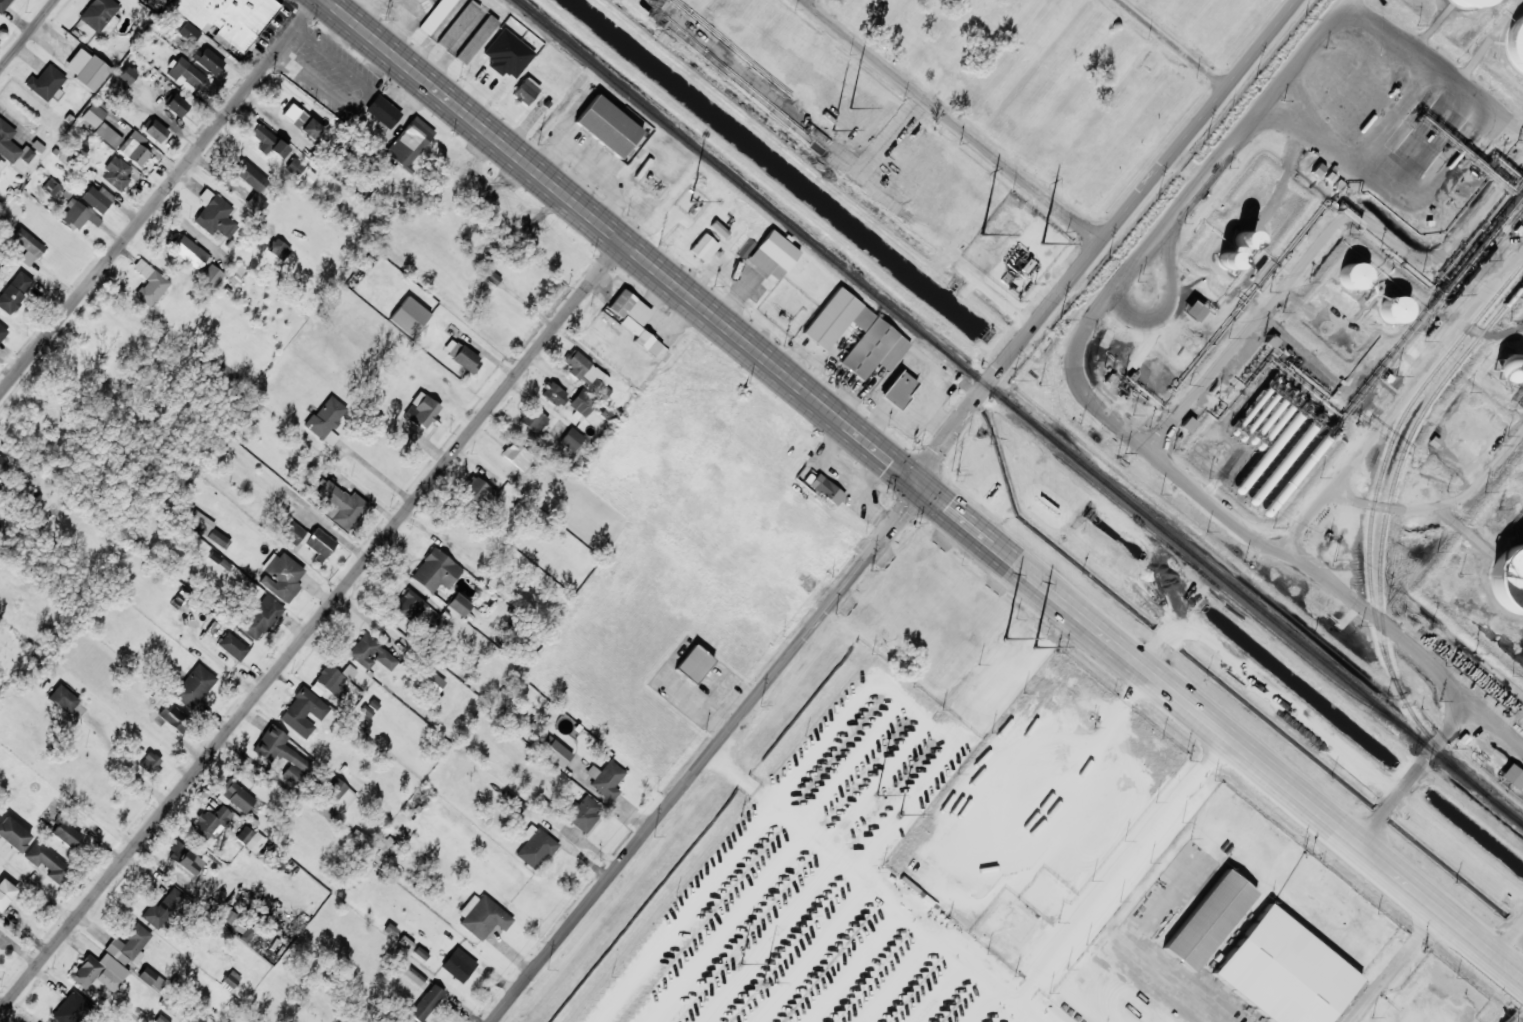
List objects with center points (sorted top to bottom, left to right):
road: (805, 0)
building: (3, 4)
building: (1455, 5)
building: (98, 13)
building: (435, 16)
building: (228, 18)
building: (457, 24)
building: (188, 32)
road: (27, 34)
building: (476, 39)
building: (1513, 42)
road: (1172, 44)
building: (207, 60)
building: (86, 68)
building: (186, 76)
building: (122, 80)
building: (45, 82)
building: (525, 91)
building: (177, 105)
building: (382, 111)
building: (93, 114)
building: (302, 121)
road: (952, 121)
building: (603, 124)
building: (156, 130)
building: (108, 134)
building: (268, 141)
building: (409, 141)
building: (11, 145)
building: (134, 148)
building: (1, 163)
building: (1317, 170)
building: (300, 171)
building: (116, 173)
building: (251, 176)
building: (1329, 177)
building: (51, 188)
road: (158, 196)
building: (97, 197)
building: (78, 214)
building: (214, 214)
road: (1104, 238)
building: (1243, 238)
building: (27, 246)
building: (703, 247)
building: (278, 249)
building: (188, 251)
building: (773, 254)
building: (1226, 259)
building: (210, 276)
building: (1352, 276)
building: (491, 277)
building: (149, 283)
building: (14, 291)
building: (1393, 308)
building: (1192, 311)
building: (405, 312)
railway: (1437, 313)
building: (634, 319)
building: (2, 331)
building: (881, 337)
building: (461, 355)
building: (1509, 368)
building: (587, 374)
building: (898, 389)
building: (553, 393)
railway: (1003, 399)
building: (582, 402)
building: (421, 410)
building: (324, 419)
building: (536, 420)
building: (1187, 425)
building: (571, 439)
building: (516, 455)
building: (2, 461)
road: (845, 476)
traffic signals: (918, 483)
building: (826, 489)
road: (925, 489)
building: (341, 505)
building: (200, 522)
building: (293, 533)
building: (216, 537)
building: (319, 543)
railway: (1368, 547)
road: (1296, 558)
building: (435, 570)
building: (281, 576)
building: (1509, 580)
storage tank: (1509, 580)
building: (459, 604)
building: (409, 605)
building: (261, 617)
road: (311, 625)
building: (232, 646)
building: (370, 653)
building: (693, 663)
building: (333, 680)
building: (433, 682)
building: (194, 686)
road: (1267, 687)
building: (62, 698)
building: (366, 710)
building: (302, 712)
road: (1493, 714)
building: (172, 716)
building: (281, 753)
building: (556, 753)
road: (707, 754)
building: (149, 762)
building: (1512, 776)
building: (605, 779)
building: (236, 796)
building: (335, 797)
building: (515, 808)
building: (582, 812)
building: (210, 822)
building: (13, 834)
building: (66, 834)
building: (247, 837)
building: (535, 846)
building: (184, 858)
building: (48, 862)
building: (5, 892)
building: (162, 907)
building: (482, 916)
building: (994, 918)
building: (1208, 920)
road: (1507, 933)
building: (128, 945)
building: (1004, 949)
building: (458, 964)
building: (99, 971)
building: (1277, 973)
building: (151, 978)
building: (230, 980)
building: (426, 1002)
building: (70, 1007)
building: (160, 1019)
building: (406, 1021)

